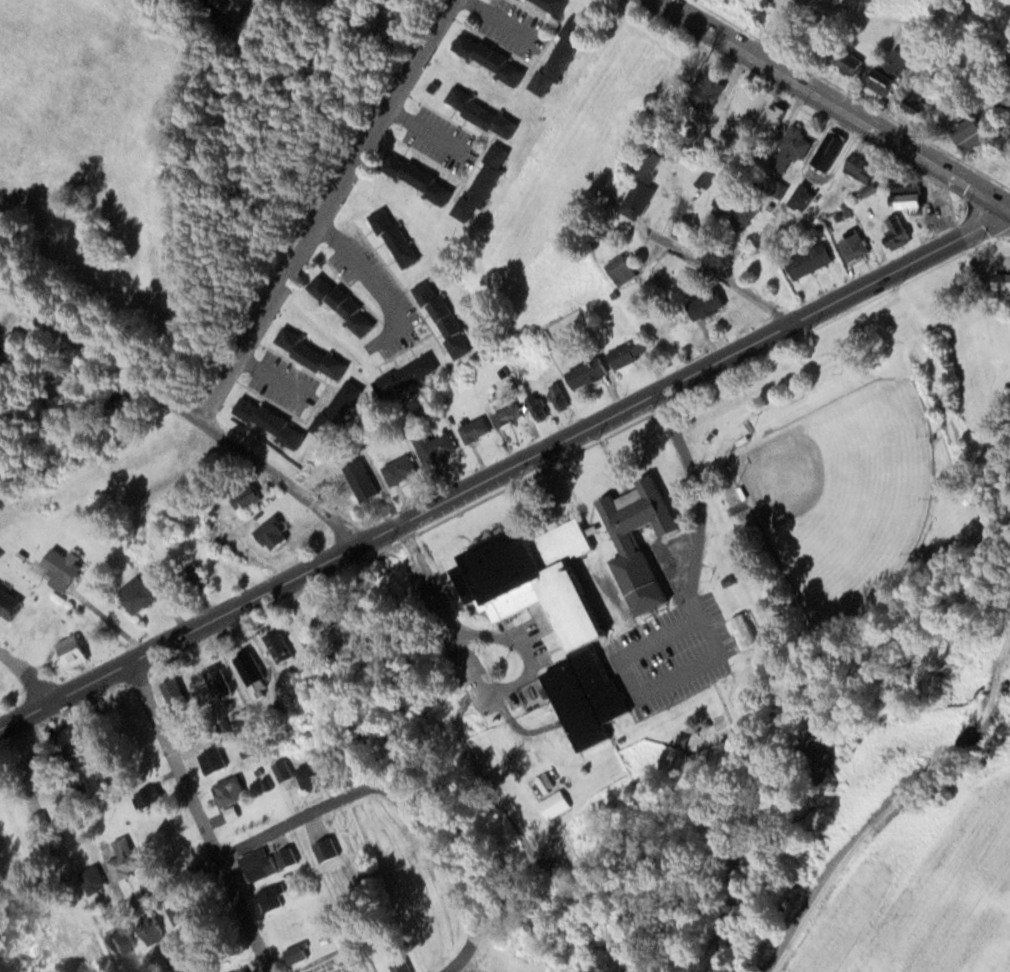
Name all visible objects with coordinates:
building: (556, 5)
building: (564, 57)
building: (492, 58)
building: (852, 63)
building: (892, 71)
building: (921, 98)
road: (837, 101)
building: (480, 109)
building: (775, 118)
building: (974, 129)
road: (423, 132)
building: (796, 148)
building: (832, 150)
building: (865, 167)
building: (422, 178)
building: (709, 178)
building: (486, 182)
building: (642, 197)
building: (730, 198)
building: (805, 198)
building: (917, 199)
road: (328, 212)
building: (749, 214)
building: (899, 230)
building: (401, 237)
building: (856, 245)
building: (815, 260)
building: (624, 269)
road: (728, 279)
road: (378, 281)
building: (1005, 283)
building: (345, 304)
building: (711, 304)
building: (447, 317)
building: (15, 344)
building: (315, 353)
building: (634, 353)
road: (266, 371)
building: (590, 373)
building: (410, 376)
building: (560, 396)
building: (127, 405)
building: (541, 407)
building: (342, 408)
road: (187, 412)
building: (511, 414)
building: (272, 421)
building: (477, 429)
building: (439, 447)
road: (504, 469)
building: (403, 470)
building: (364, 480)
building: (251, 497)
building: (644, 540)
building: (66, 569)
building: (475, 585)
building: (143, 592)
building: (10, 603)
building: (337, 613)
building: (563, 621)
building: (748, 631)
building: (283, 647)
building: (76, 651)
building: (256, 675)
road: (28, 676)
building: (221, 681)
building: (180, 698)
building: (77, 738)
building: (216, 760)
building: (49, 766)
building: (286, 770)
building: (314, 776)
building: (232, 791)
building: (151, 799)
road: (892, 809)
road: (200, 816)
building: (42, 820)
road: (238, 850)
building: (329, 850)
building: (291, 857)
building: (127, 859)
road: (444, 862)
building: (262, 864)
building: (96, 880)
building: (273, 899)
building: (186, 917)
building: (157, 930)
building: (126, 941)
building: (299, 954)
building: (403, 966)
road: (448, 971)
road: (453, 971)

